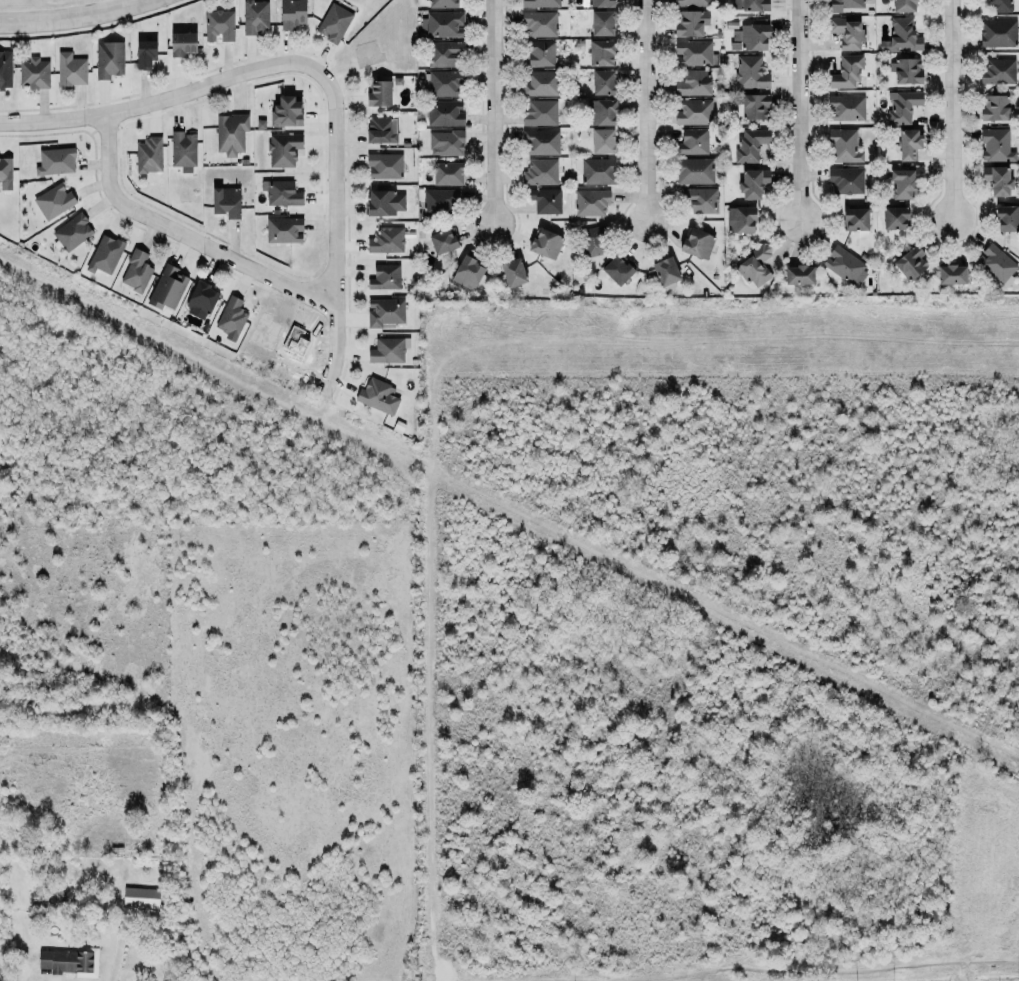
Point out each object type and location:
building: (598, 2)
building: (441, 3)
building: (540, 3)
building: (694, 3)
building: (751, 5)
building: (844, 5)
building: (904, 6)
building: (1001, 6)
building: (293, 14)
building: (255, 17)
building: (688, 21)
building: (332, 23)
building: (538, 23)
building: (604, 23)
road: (85, 24)
building: (442, 25)
building: (219, 26)
building: (900, 32)
building: (847, 33)
building: (996, 33)
building: (750, 38)
building: (180, 43)
building: (915, 44)
building: (600, 52)
building: (691, 52)
building: (143, 53)
building: (445, 53)
building: (541, 54)
building: (107, 58)
building: (4, 69)
building: (68, 69)
building: (905, 70)
building: (996, 71)
road: (317, 72)
building: (32, 73)
building: (751, 73)
building: (846, 73)
building: (693, 81)
building: (602, 83)
building: (445, 84)
building: (541, 84)
building: (379, 94)
building: (901, 106)
building: (755, 107)
building: (844, 107)
building: (993, 107)
road: (953, 109)
road: (799, 110)
road: (647, 111)
building: (692, 111)
road: (493, 112)
building: (287, 113)
building: (445, 113)
building: (538, 113)
building: (603, 113)
building: (382, 131)
building: (229, 133)
building: (601, 141)
building: (445, 142)
building: (539, 142)
building: (693, 142)
building: (909, 144)
building: (751, 145)
building: (994, 145)
building: (844, 146)
building: (284, 150)
building: (184, 151)
building: (146, 156)
building: (53, 161)
building: (384, 165)
building: (599, 171)
building: (695, 171)
building: (539, 172)
building: (6, 173)
building: (446, 173)
building: (845, 180)
building: (998, 180)
building: (753, 183)
building: (904, 183)
building: (279, 193)
building: (544, 199)
building: (699, 199)
building: (54, 201)
building: (590, 201)
building: (227, 202)
building: (440, 202)
building: (385, 203)
building: (893, 218)
building: (854, 219)
building: (1007, 219)
building: (741, 220)
building: (284, 230)
building: (70, 232)
road: (186, 236)
building: (385, 240)
building: (595, 241)
building: (441, 242)
building: (544, 244)
building: (698, 244)
building: (103, 255)
building: (907, 264)
building: (997, 264)
building: (843, 266)
building: (755, 267)
building: (617, 268)
building: (136, 271)
building: (664, 271)
building: (468, 273)
building: (514, 273)
building: (799, 275)
building: (950, 275)
building: (383, 277)
building: (166, 288)
building: (201, 301)
building: (383, 311)
building: (232, 319)
building: (387, 351)
building: (376, 396)
building: (48, 898)
building: (141, 898)
building: (70, 962)

